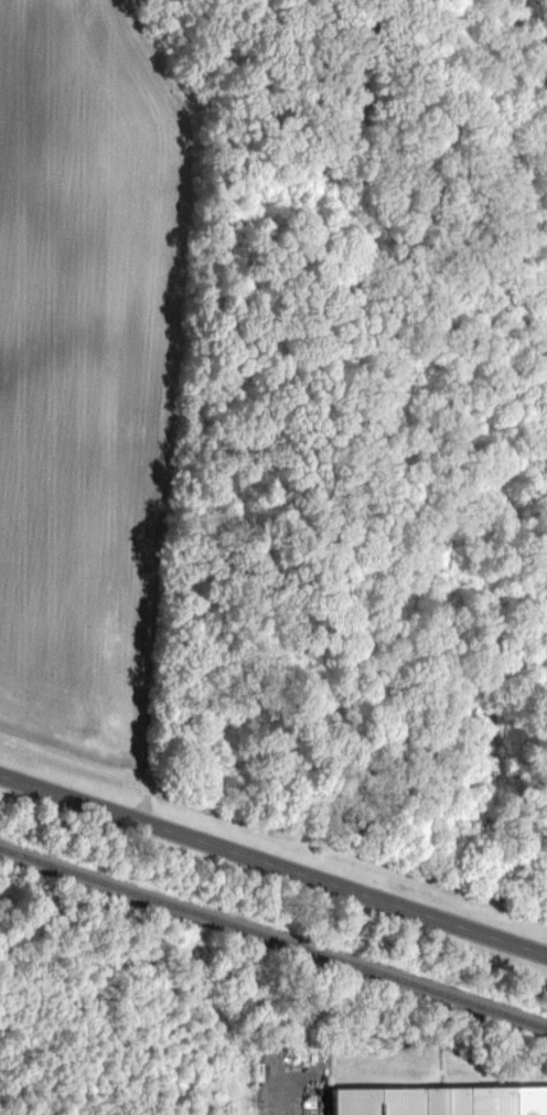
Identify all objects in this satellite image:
road: (273, 866)
railway: (272, 936)
building: (442, 1101)

